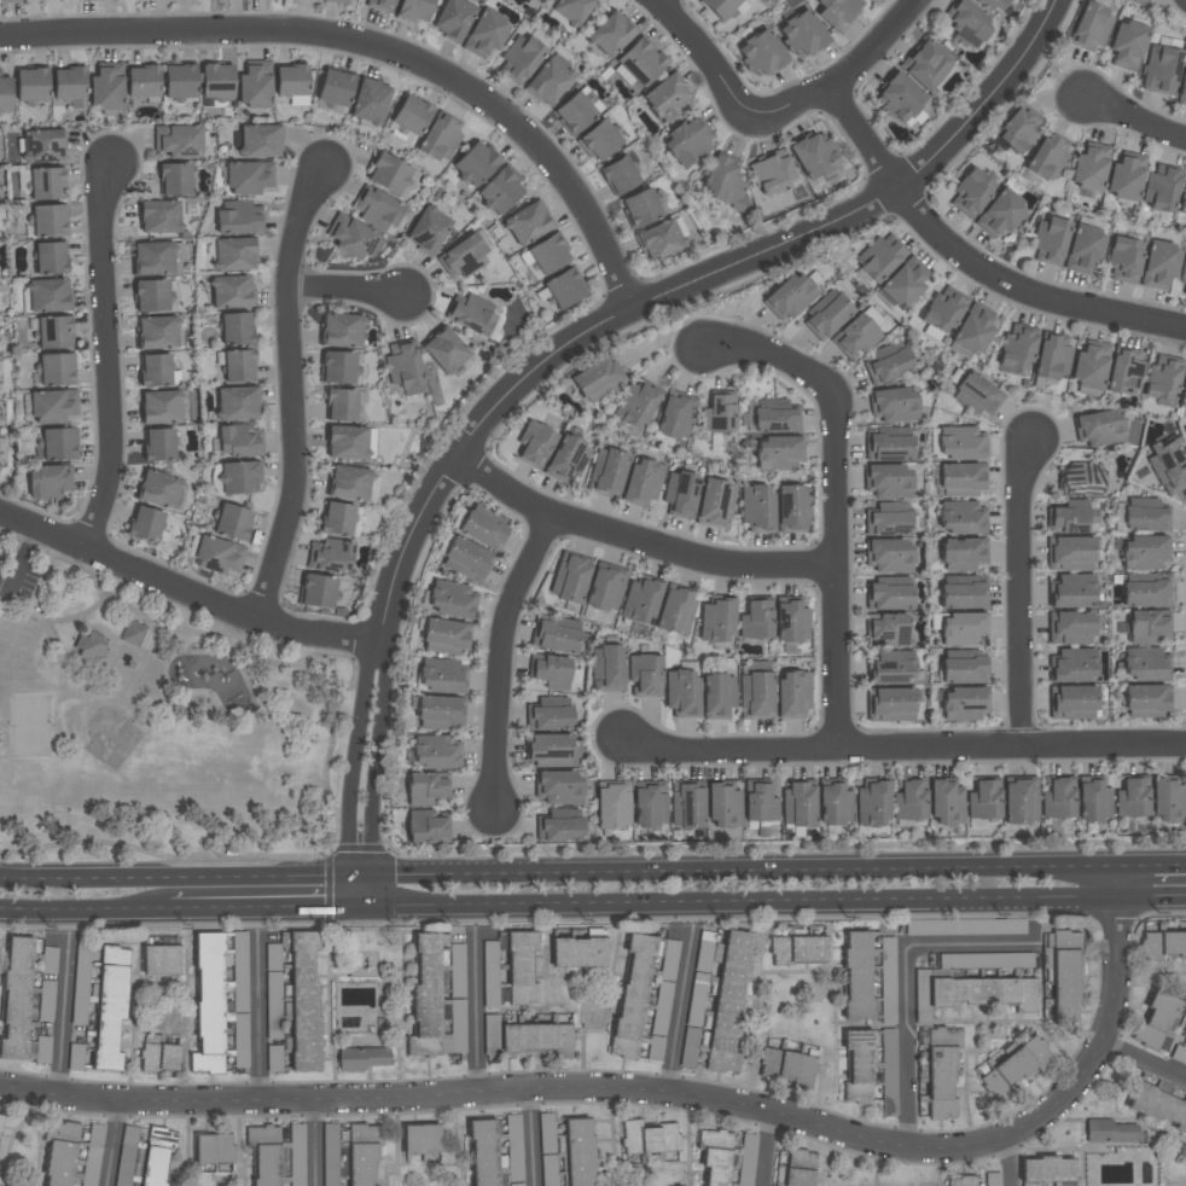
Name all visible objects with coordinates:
building: (10, 0)
building: (338, 1)
building: (1138, 1)
building: (992, 4)
building: (380, 5)
building: (725, 6)
building: (414, 10)
building: (572, 10)
building: (837, 12)
building: (453, 18)
building: (969, 23)
building: (1091, 28)
building: (486, 33)
building: (610, 34)
building: (802, 34)
building: (1127, 45)
road: (376, 47)
building: (761, 54)
building: (522, 57)
road: (707, 62)
building: (639, 64)
building: (925, 64)
building: (1161, 70)
road: (845, 79)
building: (143, 81)
building: (180, 81)
building: (216, 81)
building: (548, 82)
building: (292, 83)
building: (31, 85)
building: (68, 85)
building: (255, 85)
building: (106, 86)
building: (335, 89)
building: (1182, 91)
building: (5, 93)
building: (667, 98)
building: (899, 98)
building: (370, 101)
building: (574, 112)
building: (409, 116)
road: (1136, 121)
building: (1019, 129)
building: (441, 138)
building: (179, 140)
building: (599, 140)
building: (687, 140)
building: (257, 141)
building: (41, 146)
building: (814, 156)
building: (1050, 157)
building: (475, 163)
building: (1089, 167)
building: (390, 174)
building: (772, 174)
building: (618, 175)
building: (1126, 176)
building: (249, 178)
building: (175, 179)
building: (47, 184)
building: (725, 184)
building: (1161, 188)
building: (500, 191)
building: (971, 192)
building: (377, 207)
building: (641, 208)
building: (1000, 213)
building: (159, 216)
building: (239, 220)
building: (48, 221)
building: (527, 223)
building: (428, 229)
building: (353, 238)
building: (659, 240)
building: (1050, 240)
building: (1083, 249)
building: (234, 254)
building: (548, 254)
building: (156, 257)
building: (463, 257)
building: (879, 257)
building: (50, 258)
building: (1123, 260)
building: (1159, 264)
road: (972, 266)
building: (1182, 275)
building: (902, 284)
building: (564, 287)
road: (679, 287)
road: (342, 290)
building: (231, 291)
building: (48, 295)
building: (151, 296)
building: (789, 296)
building: (826, 314)
building: (941, 314)
building: (471, 315)
building: (236, 329)
building: (341, 330)
building: (54, 332)
building: (161, 332)
building: (972, 332)
building: (856, 335)
building: (1016, 349)
building: (444, 350)
building: (1052, 356)
road: (106, 357)
building: (888, 362)
building: (1089, 365)
building: (239, 366)
building: (336, 367)
building: (405, 368)
building: (56, 370)
building: (1124, 371)
building: (597, 379)
building: (1162, 379)
building: (1184, 390)
road: (290, 391)
building: (976, 395)
building: (237, 403)
building: (341, 405)
building: (636, 405)
building: (894, 405)
building: (53, 406)
building: (161, 407)
building: (720, 413)
building: (771, 415)
building: (676, 417)
building: (1099, 428)
building: (238, 442)
building: (350, 442)
building: (58, 443)
building: (889, 443)
building: (960, 443)
building: (158, 444)
building: (534, 444)
building: (777, 453)
building: (566, 460)
building: (1168, 466)
building: (609, 471)
building: (238, 477)
building: (961, 479)
building: (1081, 479)
building: (47, 481)
building: (888, 481)
building: (348, 482)
building: (643, 482)
building: (161, 489)
building: (680, 493)
road: (836, 501)
building: (715, 504)
building: (757, 506)
building: (793, 506)
building: (1144, 514)
building: (1072, 517)
building: (961, 518)
building: (337, 519)
building: (888, 519)
building: (233, 522)
building: (145, 524)
building: (483, 530)
road: (635, 541)
road: (25, 543)
building: (1145, 552)
building: (1071, 553)
building: (217, 554)
building: (331, 554)
building: (961, 554)
building: (888, 556)
building: (467, 560)
parking lot: (1, 562)
road: (21, 563)
parking lot: (18, 575)
building: (570, 579)
building: (606, 587)
road: (186, 589)
building: (1072, 589)
building: (316, 591)
road: (1018, 593)
building: (1145, 594)
building: (963, 595)
building: (889, 597)
building: (452, 599)
building: (641, 599)
road: (31, 605)
building: (675, 610)
building: (716, 618)
building: (756, 620)
building: (791, 621)
road: (83, 627)
building: (1147, 627)
building: (1070, 628)
building: (888, 630)
building: (134, 633)
road: (56, 635)
building: (444, 636)
road: (112, 638)
building: (556, 638)
building: (88, 647)
road: (210, 653)
road: (502, 661)
building: (1144, 664)
building: (1072, 665)
building: (609, 667)
building: (893, 668)
building: (964, 670)
building: (552, 672)
building: (645, 675)
building: (441, 678)
building: (681, 692)
building: (792, 693)
building: (719, 696)
building: (756, 696)
building: (552, 700)
building: (1145, 700)
building: (1071, 702)
building: (964, 703)
building: (889, 704)
road: (223, 709)
building: (440, 713)
building: (548, 717)
park: (31, 726)
park: (159, 728)
park: (111, 737)
road: (902, 749)
building: (548, 750)
building: (435, 751)
road: (355, 756)
road: (378, 757)
road: (327, 773)
building: (559, 786)
building: (425, 789)
building: (1057, 798)
building: (1132, 798)
building: (908, 800)
building: (984, 800)
building: (1093, 800)
building: (1021, 801)
building: (1168, 801)
building: (760, 802)
building: (833, 803)
building: (872, 803)
building: (947, 803)
building: (650, 804)
building: (686, 804)
building: (798, 804)
building: (612, 806)
building: (723, 806)
building: (559, 826)
building: (424, 827)
road: (1151, 865)
road: (743, 871)
traffic signals: (348, 874)
road: (360, 874)
traffic signals: (372, 874)
road: (264, 876)
road: (91, 878)
road: (348, 889)
road: (372, 889)
road: (1100, 896)
road: (1151, 896)
road: (727, 901)
traffic signals: (348, 905)
road: (360, 905)
traffic signals: (372, 905)
road: (258, 906)
road: (85, 907)
building: (986, 926)
building: (1162, 944)
building: (796, 949)
building: (576, 952)
building: (489, 954)
building: (159, 959)
building: (48, 960)
building: (979, 960)
building: (519, 967)
building: (855, 975)
building: (886, 981)
road: (906, 983)
building: (80, 984)
building: (640, 989)
building: (272, 993)
building: (424, 996)
building: (723, 996)
building: (16, 998)
building: (239, 998)
building: (301, 999)
building: (207, 1004)
building: (109, 1005)
building: (1047, 1008)
road: (678, 1012)
building: (591, 1015)
road: (475, 1016)
road: (60, 1017)
road: (257, 1021)
building: (1156, 1022)
building: (1184, 1033)
building: (490, 1035)
building: (536, 1037)
road: (1145, 1056)
building: (157, 1057)
building: (273, 1058)
building: (361, 1058)
building: (787, 1066)
building: (856, 1066)
building: (1013, 1069)
building: (938, 1070)
building: (886, 1071)
road: (665, 1095)
building: (1158, 1105)
building: (0, 1117)
building: (1110, 1134)
building: (647, 1138)
building: (420, 1139)
road: (530, 1139)
road: (312, 1143)
road: (110, 1144)
building: (213, 1147)
road: (767, 1149)
building: (514, 1150)
building: (59, 1152)
building: (361, 1152)
building: (483, 1152)
building: (580, 1152)
building: (92, 1155)
building: (263, 1155)
building: (296, 1155)
building: (330, 1155)
building: (126, 1156)
building: (156, 1156)
building: (715, 1156)
building: (746, 1159)
road: (1004, 1162)
building: (797, 1167)
building: (1046, 1172)
building: (993, 1179)
building: (960, 1181)

